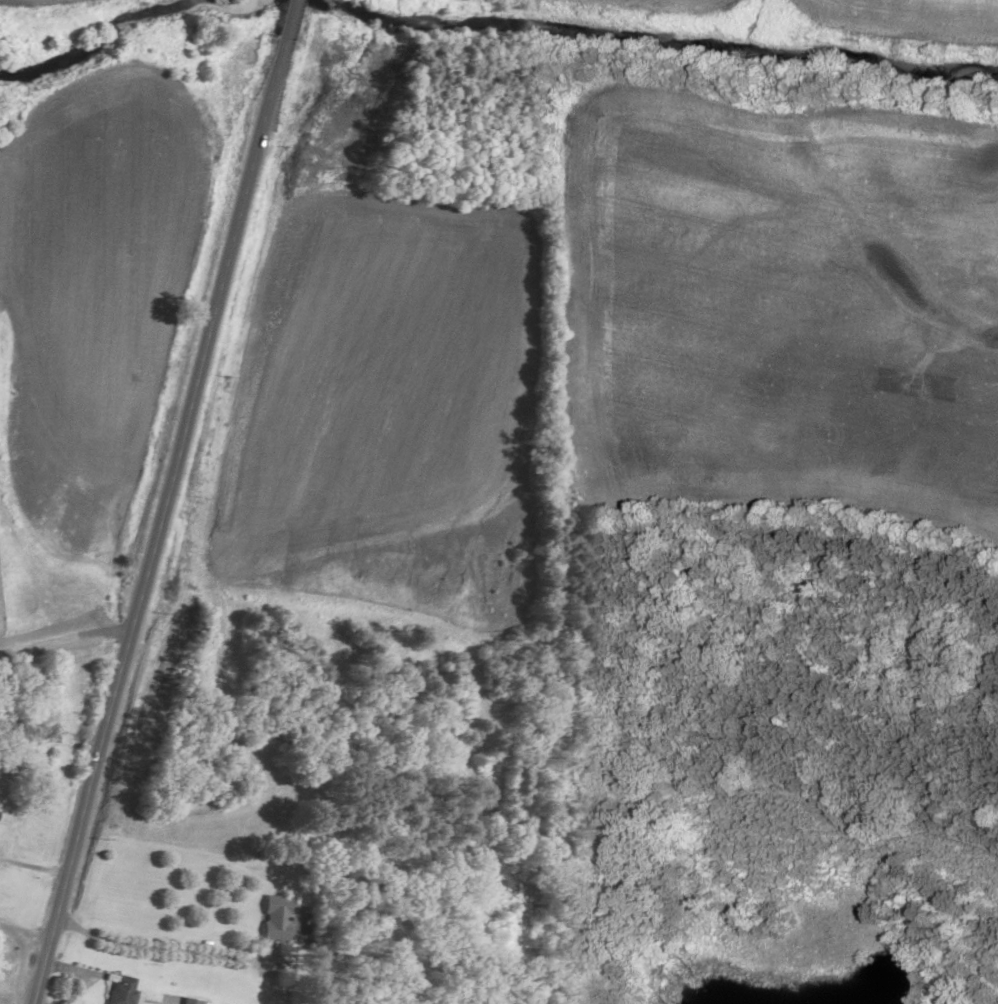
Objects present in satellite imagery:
road: (285, 19)
road: (155, 521)
building: (270, 920)
building: (187, 1002)

